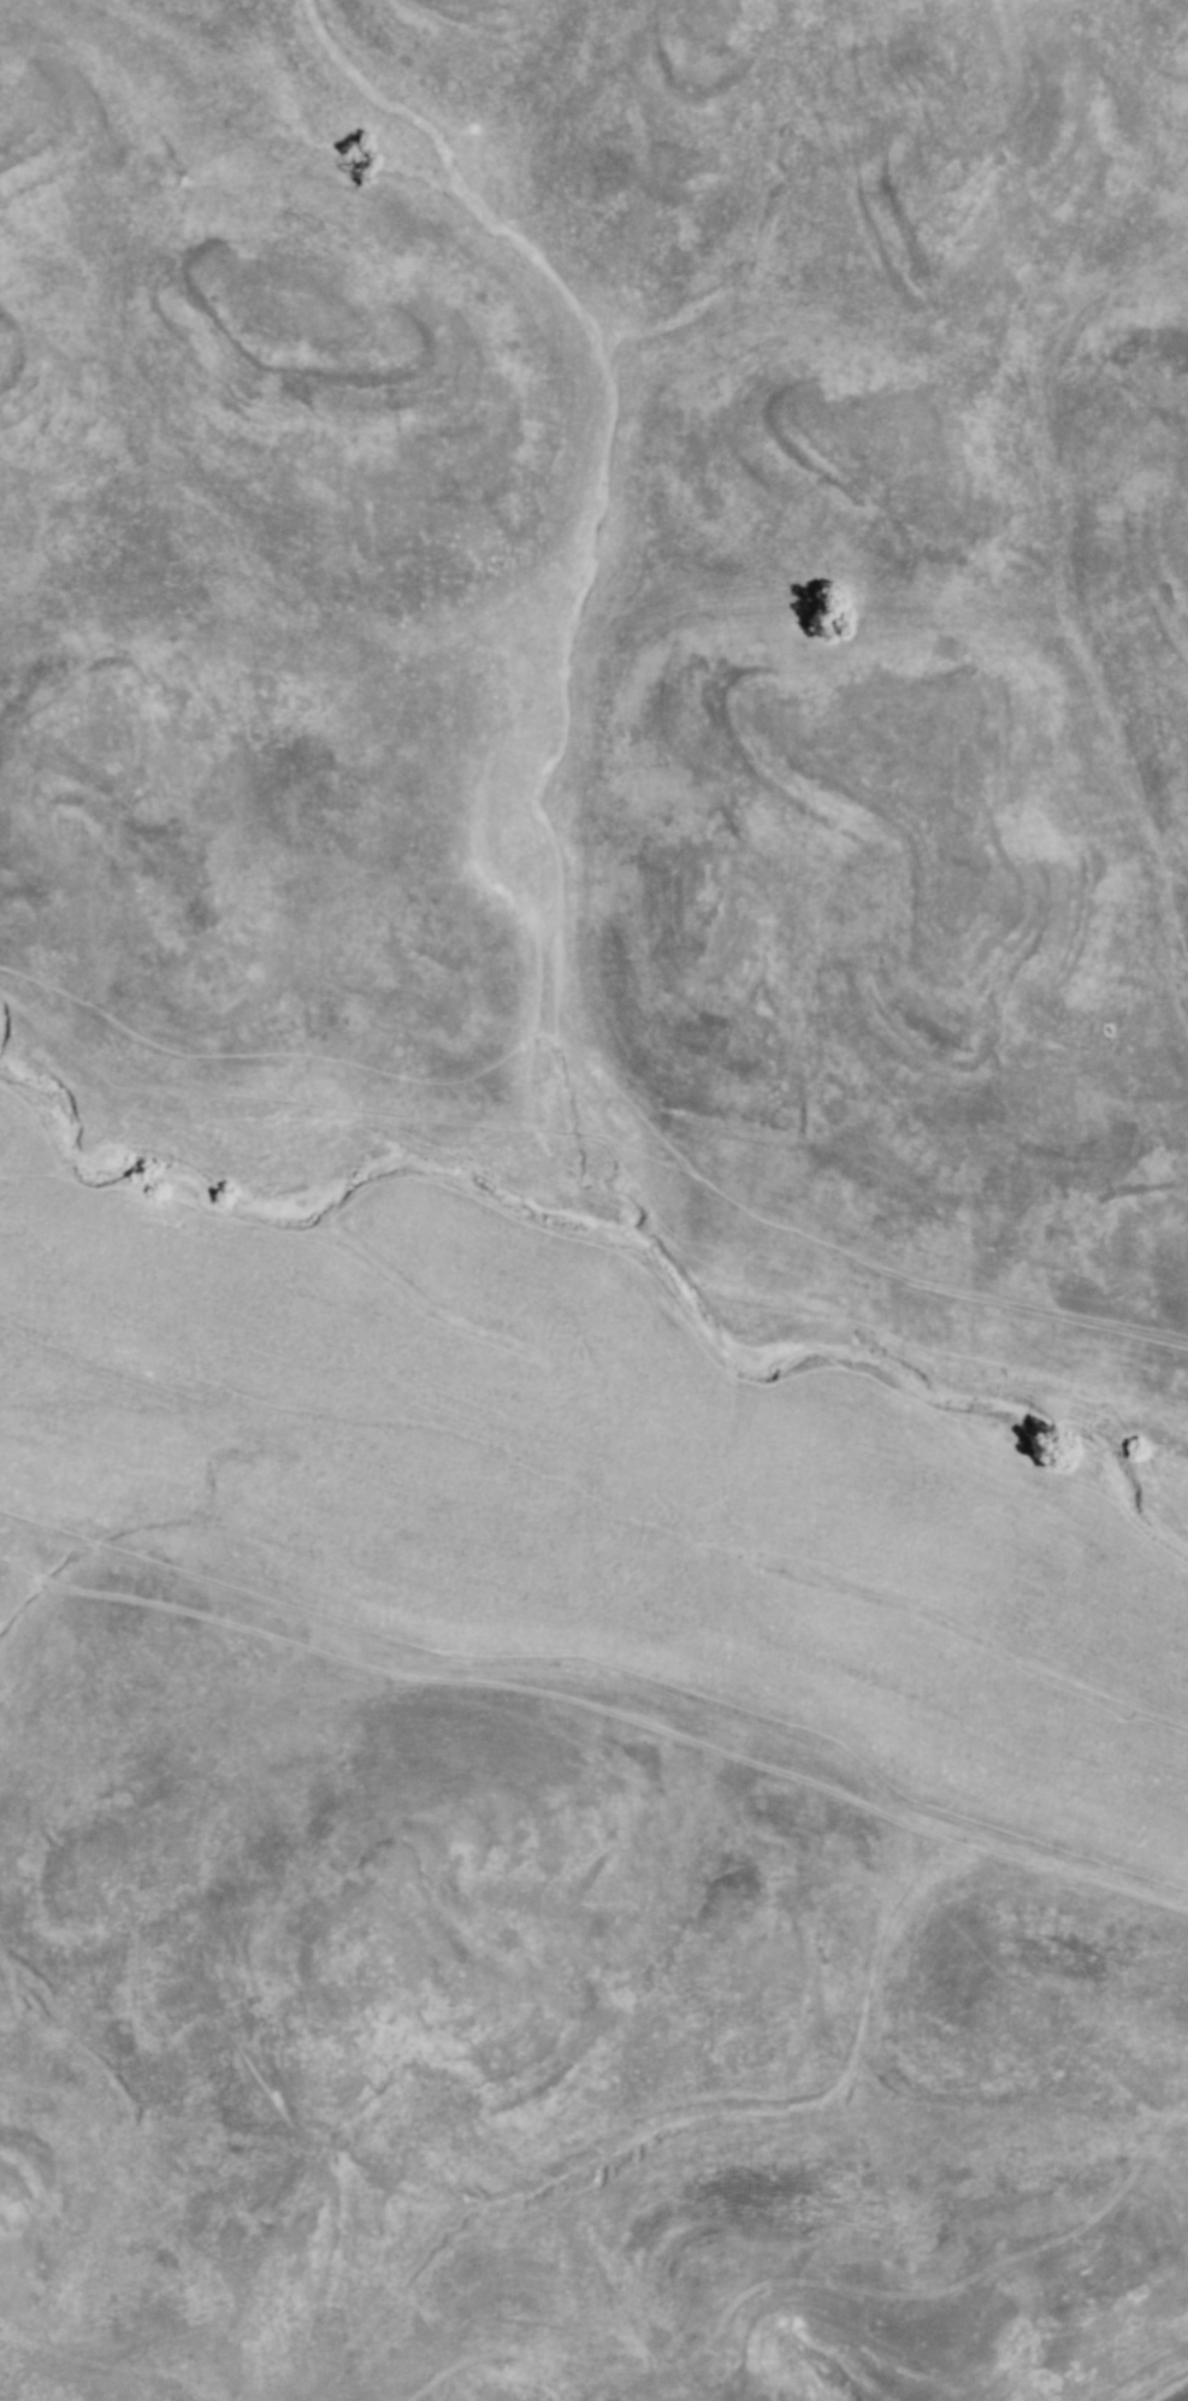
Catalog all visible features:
road: (1181, 2396)

